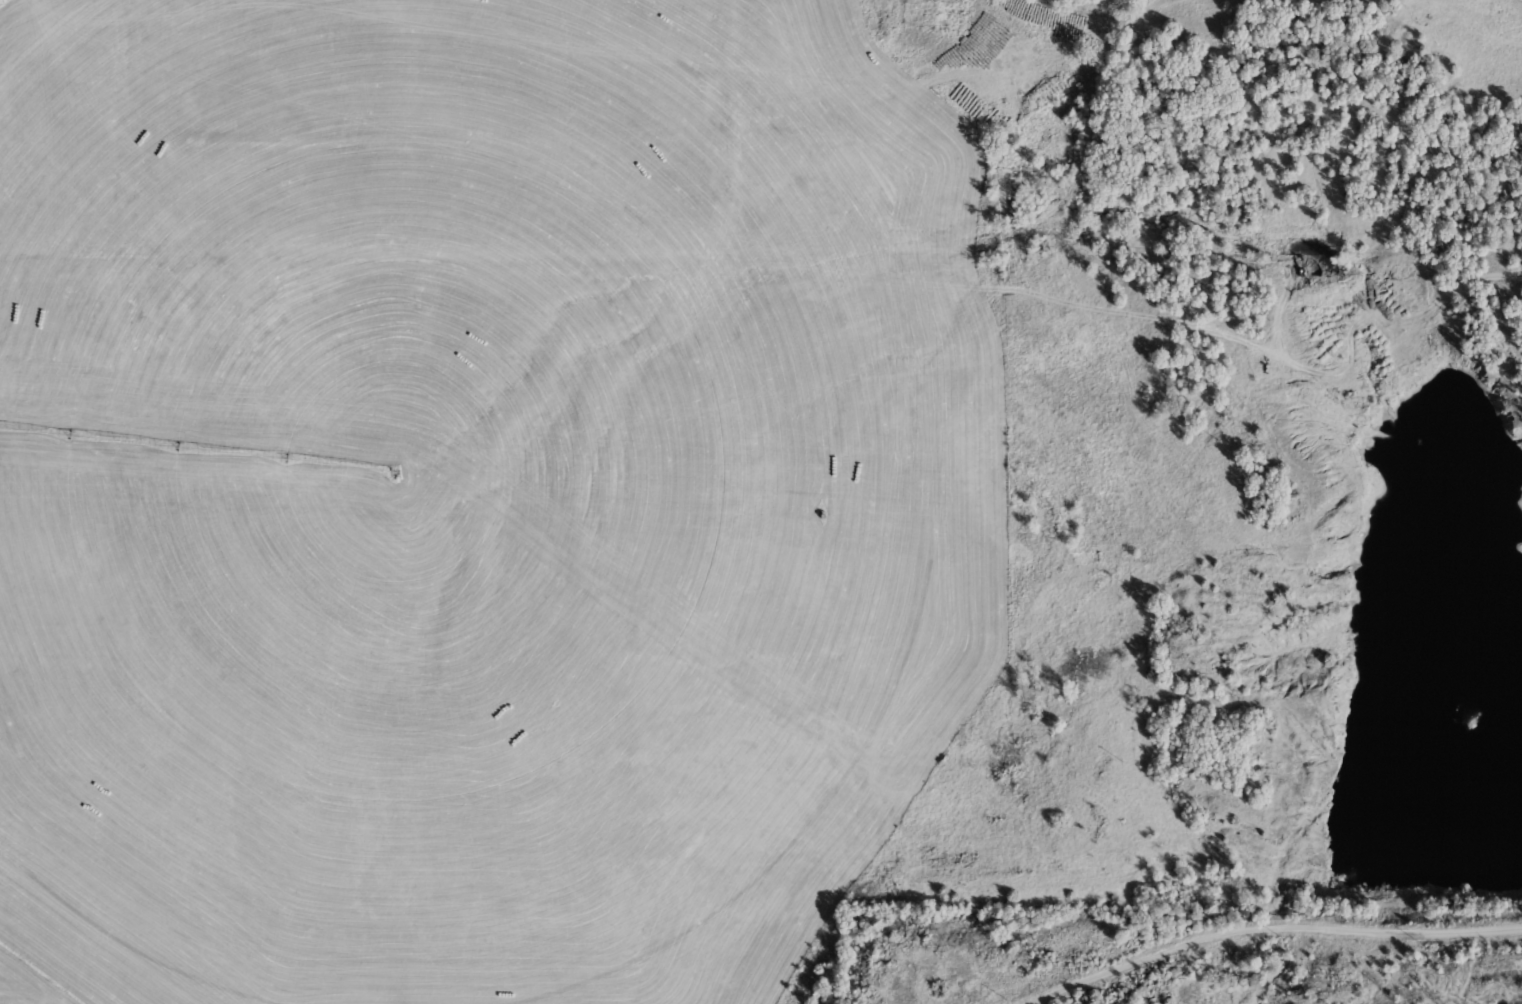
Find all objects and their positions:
road: (1272, 929)

